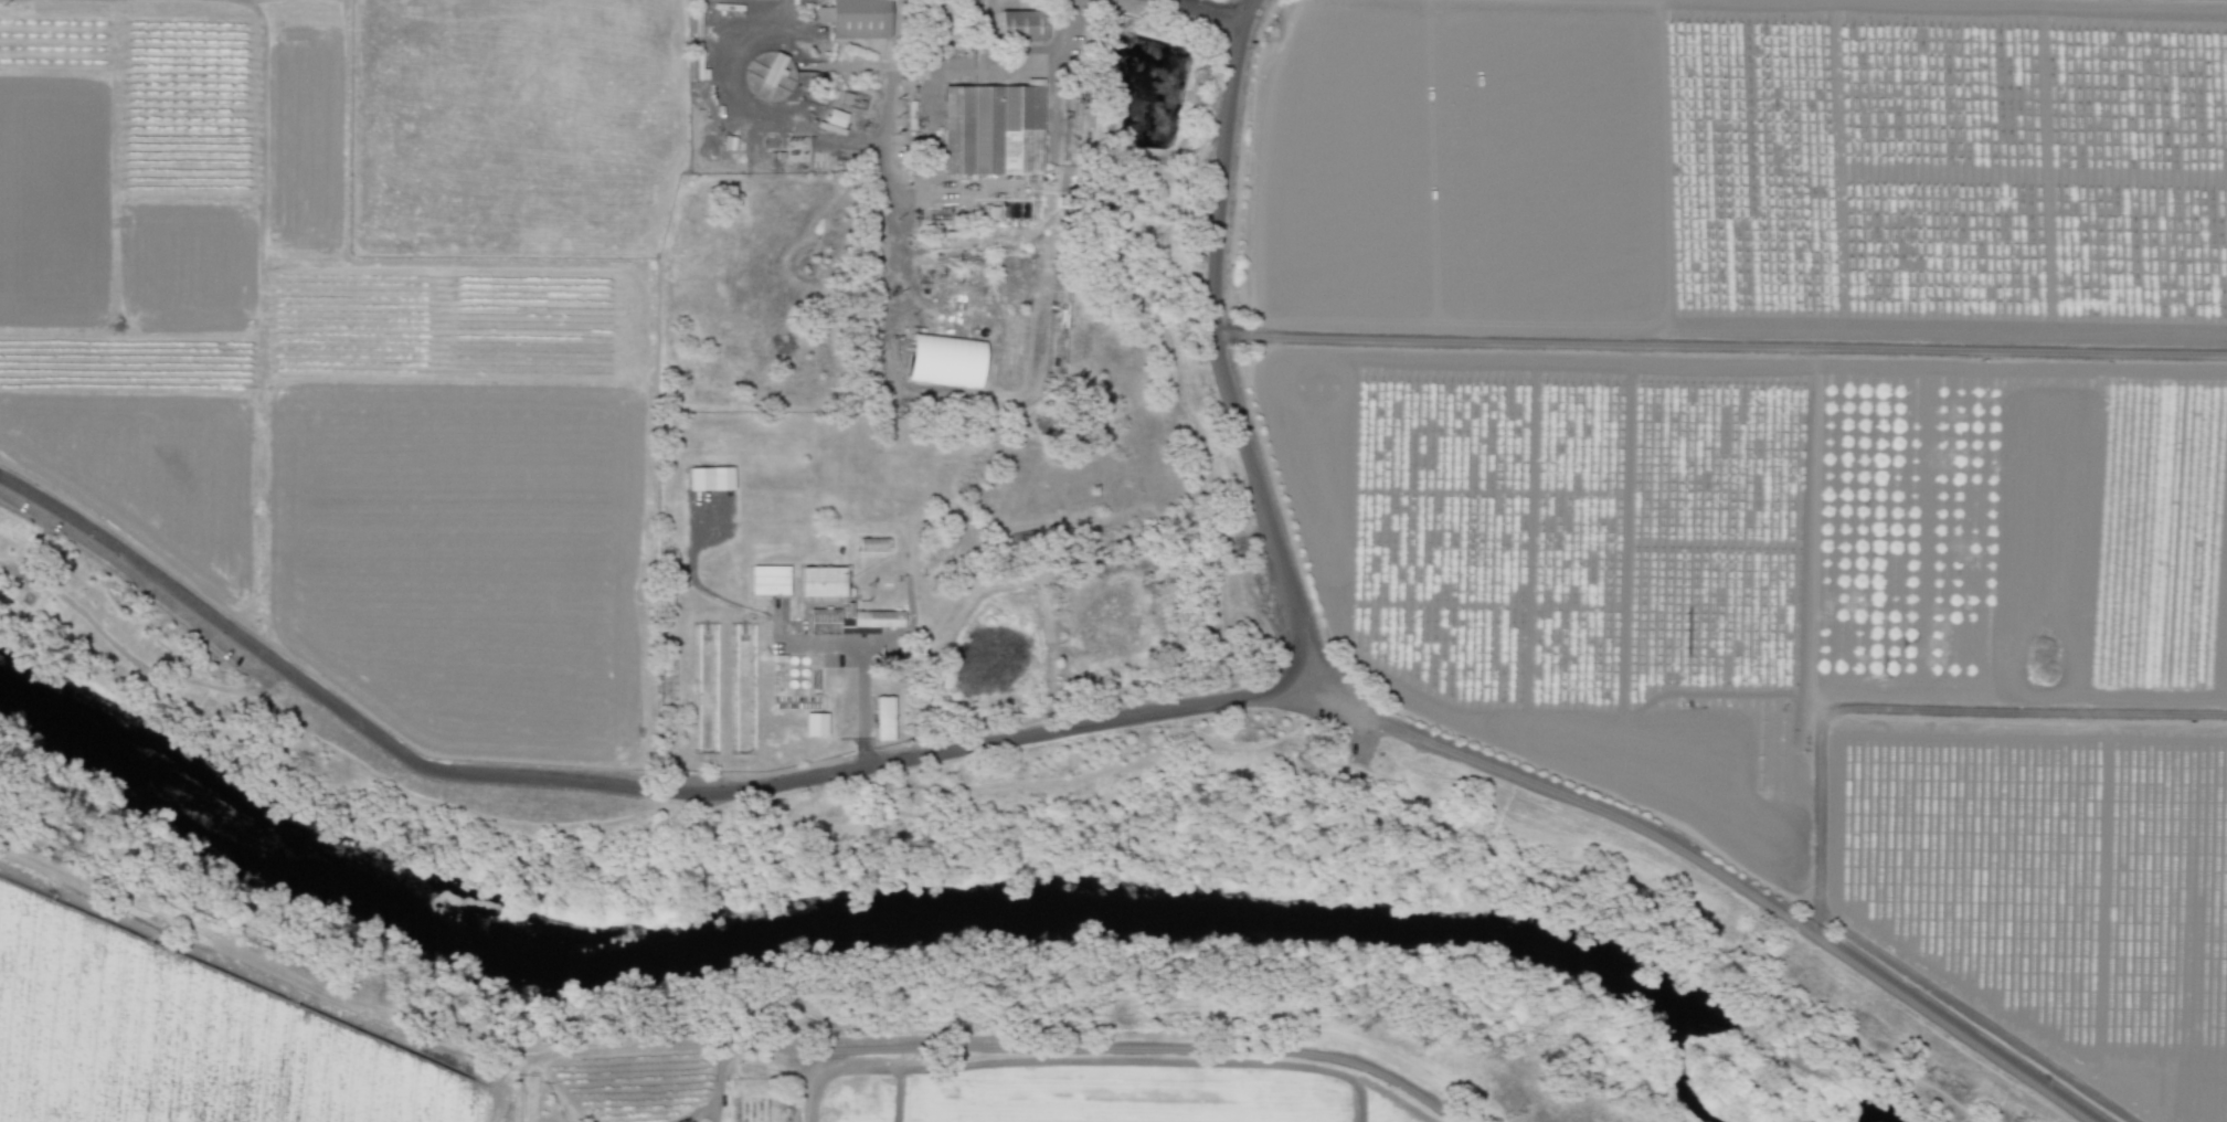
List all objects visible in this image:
road: (1218, 8)
building: (859, 19)
building: (1022, 29)
road: (1018, 62)
building: (776, 72)
building: (836, 117)
road: (814, 127)
building: (994, 129)
airport: (502, 133)
road: (1211, 334)
road: (1718, 343)
building: (946, 362)
crop: (1799, 448)
building: (877, 547)
road: (6, 574)
building: (772, 581)
building: (825, 583)
building: (880, 620)
building: (827, 624)
road: (221, 688)
road: (1915, 707)
road: (863, 709)
building: (887, 719)
parking lot: (1358, 743)
road: (615, 786)
road: (1215, 795)
road: (813, 797)
river: (267, 840)
road: (1706, 865)
road: (645, 874)
road: (544, 880)
road: (1688, 907)
river: (1187, 927)
road: (721, 1045)
road: (719, 1083)
road: (521, 1084)

